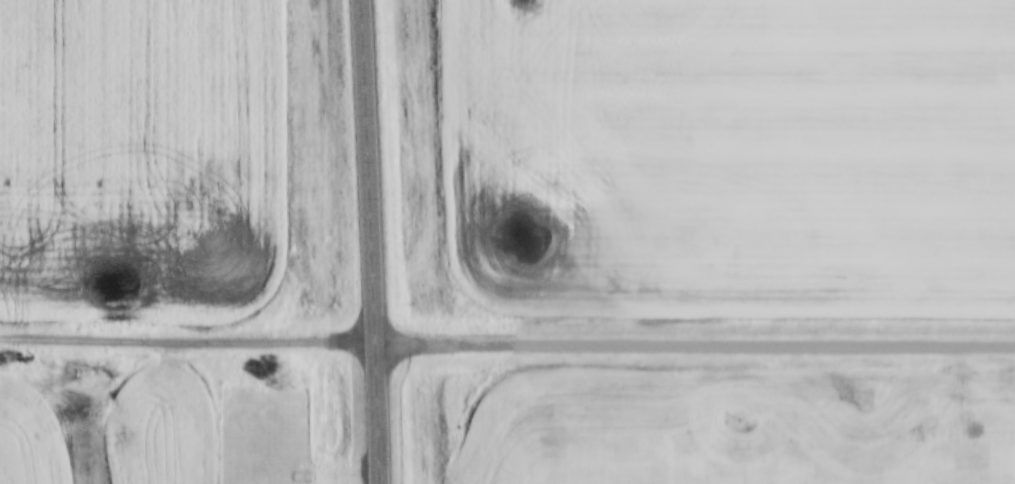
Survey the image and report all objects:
road: (370, 241)
road: (186, 341)
road: (694, 342)
park: (263, 433)

